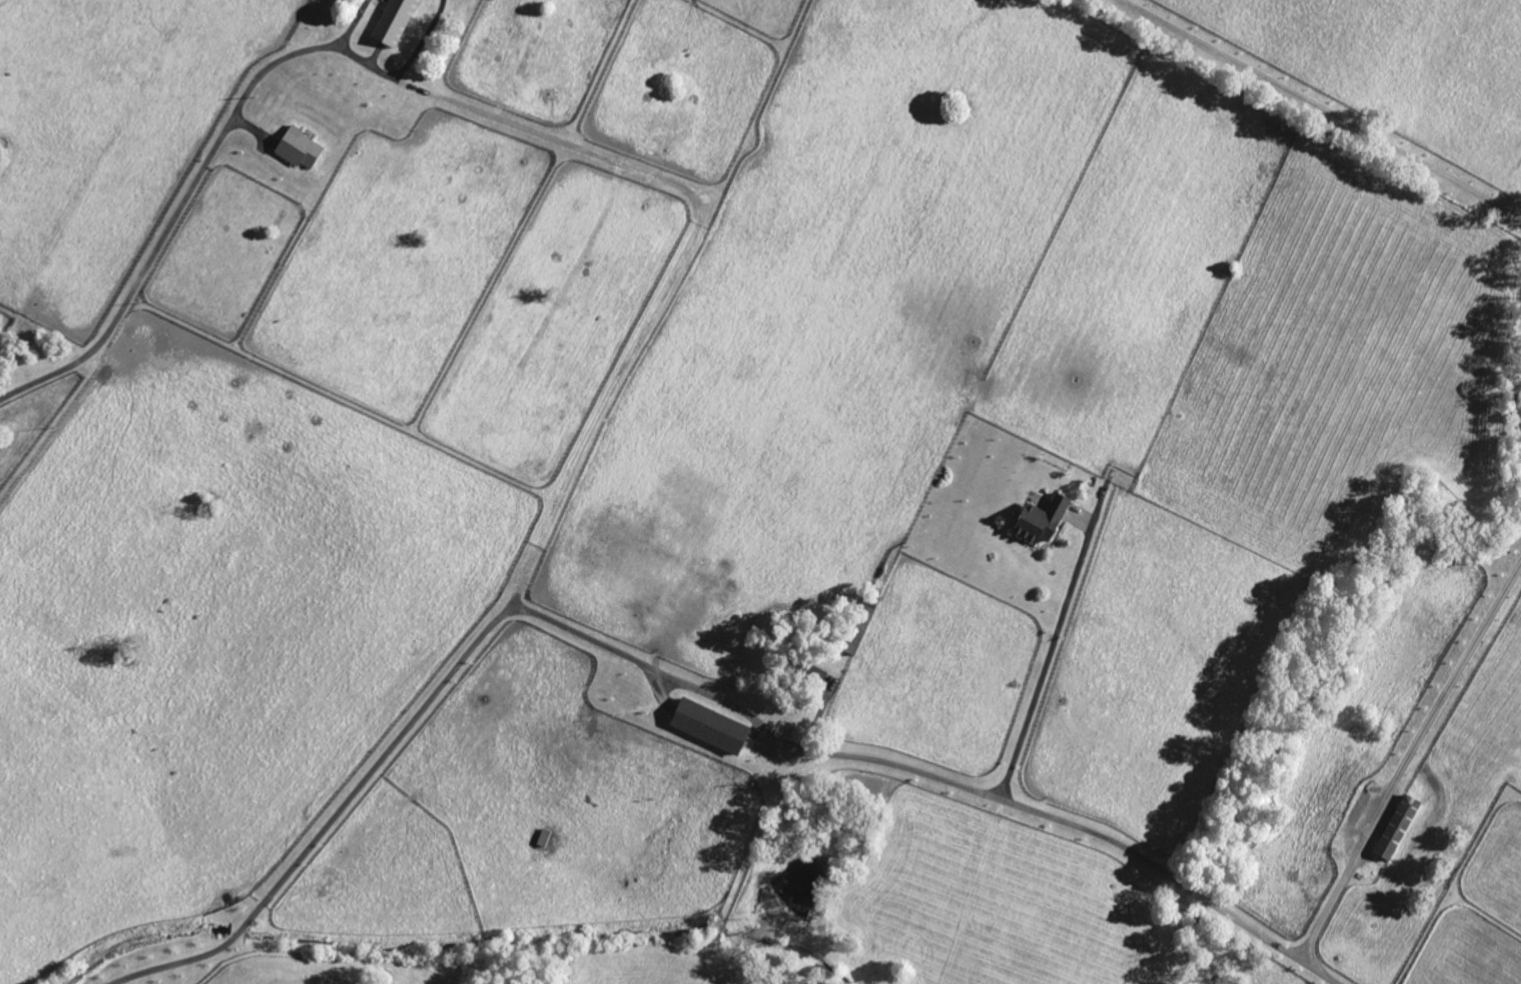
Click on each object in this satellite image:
building: (397, 21)
road: (1318, 108)
building: (303, 149)
road: (190, 200)
building: (1045, 521)
road: (1046, 661)
building: (714, 727)
road: (1409, 761)
road: (934, 776)
road: (332, 816)
building: (1401, 828)

